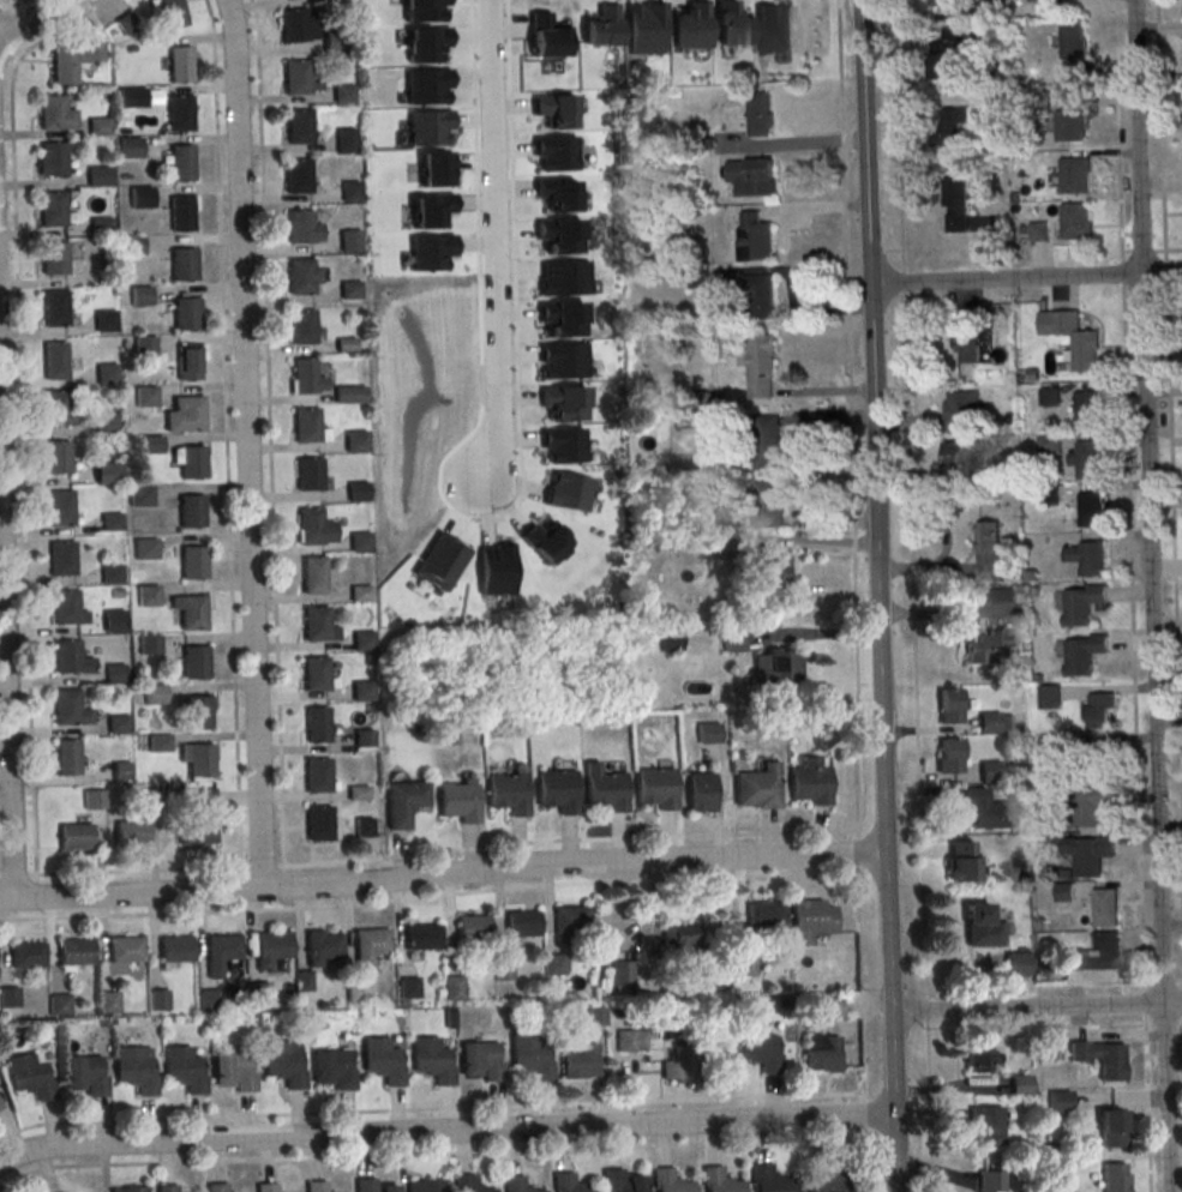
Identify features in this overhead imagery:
road: (8, 4)
building: (941, 4)
road: (14, 5)
building: (983, 11)
road: (2, 14)
building: (172, 14)
road: (29, 20)
building: (126, 23)
building: (298, 25)
road: (4, 32)
building: (335, 46)
building: (1073, 49)
building: (73, 60)
building: (943, 66)
building: (181, 68)
building: (296, 82)
building: (343, 96)
building: (988, 100)
building: (132, 101)
building: (56, 116)
building: (180, 116)
building: (761, 118)
road: (1160, 125)
building: (954, 127)
building: (1070, 128)
building: (98, 130)
building: (299, 131)
building: (346, 144)
building: (131, 151)
building: (53, 163)
building: (182, 167)
building: (1075, 179)
building: (100, 180)
building: (298, 180)
building: (752, 181)
building: (352, 195)
building: (142, 200)
building: (955, 207)
building: (53, 212)
building: (182, 217)
building: (1076, 225)
building: (102, 229)
building: (300, 230)
building: (1038, 234)
building: (757, 240)
building: (350, 243)
road: (494, 243)
building: (133, 248)
road: (1122, 253)
building: (55, 263)
building: (185, 267)
road: (1025, 278)
building: (302, 281)
building: (352, 293)
building: (760, 294)
building: (140, 299)
building: (55, 312)
building: (186, 319)
building: (107, 323)
building: (304, 330)
building: (967, 344)
building: (145, 349)
building: (1085, 350)
building: (55, 363)
building: (188, 363)
building: (760, 366)
building: (108, 374)
building: (305, 378)
building: (350, 393)
building: (1049, 396)
building: (146, 399)
building: (1087, 409)
building: (960, 410)
building: (56, 411)
road: (20, 416)
building: (186, 417)
building: (107, 426)
building: (306, 427)
road: (270, 435)
road: (227, 437)
building: (766, 440)
road: (247, 444)
building: (358, 444)
building: (1048, 444)
building: (152, 447)
building: (56, 457)
building: (960, 457)
building: (1087, 459)
building: (194, 466)
building: (108, 475)
building: (310, 477)
building: (1050, 493)
building: (359, 494)
building: (140, 498)
building: (769, 504)
building: (59, 507)
building: (1090, 508)
building: (191, 511)
building: (110, 522)
building: (311, 530)
building: (361, 544)
building: (145, 548)
building: (988, 552)
road: (1174, 556)
building: (61, 558)
road: (876, 558)
building: (1087, 558)
building: (191, 562)
building: (773, 570)
building: (110, 574)
building: (314, 579)
building: (148, 595)
road: (1151, 595)
road: (857, 596)
road: (912, 596)
building: (1082, 602)
building: (64, 606)
building: (192, 613)
building: (114, 621)
building: (314, 622)
building: (671, 639)
building: (362, 642)
building: (736, 642)
building: (991, 644)
building: (149, 645)
building: (1084, 652)
building: (70, 658)
road: (1133, 661)
building: (194, 662)
building: (778, 666)
building: (313, 673)
building: (114, 674)
building: (362, 691)
road: (5, 693)
building: (154, 694)
building: (1049, 697)
building: (950, 705)
building: (68, 709)
building: (1100, 709)
building: (197, 711)
building: (989, 722)
building: (316, 723)
building: (116, 724)
building: (709, 733)
building: (365, 738)
building: (158, 744)
building: (1049, 746)
building: (949, 754)
building: (65, 757)
building: (199, 759)
building: (1102, 759)
building: (121, 770)
building: (989, 771)
building: (317, 775)
building: (808, 781)
building: (755, 787)
building: (654, 788)
building: (557, 790)
building: (606, 790)
building: (698, 791)
building: (506, 793)
building: (151, 799)
building: (203, 799)
building: (92, 800)
building: (403, 801)
building: (457, 801)
building: (1090, 805)
building: (985, 809)
building: (318, 821)
building: (364, 826)
building: (193, 831)
building: (128, 833)
building: (73, 835)
road: (565, 837)
building: (1092, 855)
building: (961, 860)
road: (262, 865)
road: (137, 869)
road: (13, 873)
road: (442, 874)
road: (284, 880)
road: (240, 883)
road: (35, 889)
building: (1064, 892)
road: (427, 896)
building: (1105, 907)
building: (763, 913)
building: (809, 920)
building: (570, 922)
building: (521, 925)
building: (984, 927)
building: (473, 928)
building: (421, 938)
building: (679, 939)
building: (370, 941)
building: (272, 945)
building: (323, 946)
building: (221, 947)
building: (174, 949)
building: (124, 950)
building: (74, 952)
building: (1094, 955)
building: (25, 956)
building: (1016, 963)
building: (554, 965)
building: (745, 965)
building: (503, 970)
building: (623, 973)
building: (304, 980)
building: (408, 988)
building: (456, 988)
building: (355, 989)
building: (8, 998)
building: (156, 1000)
building: (206, 1000)
building: (107, 1003)
building: (58, 1005)
road: (1036, 1006)
building: (596, 1016)
building: (631, 1040)
building: (760, 1047)
building: (821, 1052)
building: (530, 1056)
building: (982, 1058)
building: (382, 1061)
building: (431, 1061)
building: (481, 1061)
building: (581, 1061)
building: (1109, 1062)
building: (282, 1065)
building: (674, 1066)
building: (331, 1068)
building: (182, 1070)
building: (133, 1071)
building: (232, 1071)
building: (83, 1076)
building: (29, 1077)
building: (1021, 1083)
building: (1060, 1101)
building: (0, 1106)
building: (0, 1107)
road: (1146, 1109)
road: (430, 1110)
building: (985, 1125)
building: (1110, 1130)
road: (445, 1132)
road: (430, 1154)
road: (895, 1154)
building: (1112, 1178)
building: (828, 1179)
building: (767, 1180)
building: (989, 1180)
building: (620, 1181)
building: (666, 1181)
building: (718, 1181)
building: (566, 1184)
building: (364, 1185)
building: (425, 1185)
building: (467, 1185)
building: (516, 1185)
building: (314, 1186)
building: (264, 1187)
building: (128, 1188)
building: (164, 1188)
building: (215, 1188)
building: (386, 1188)
building: (1060, 1191)

